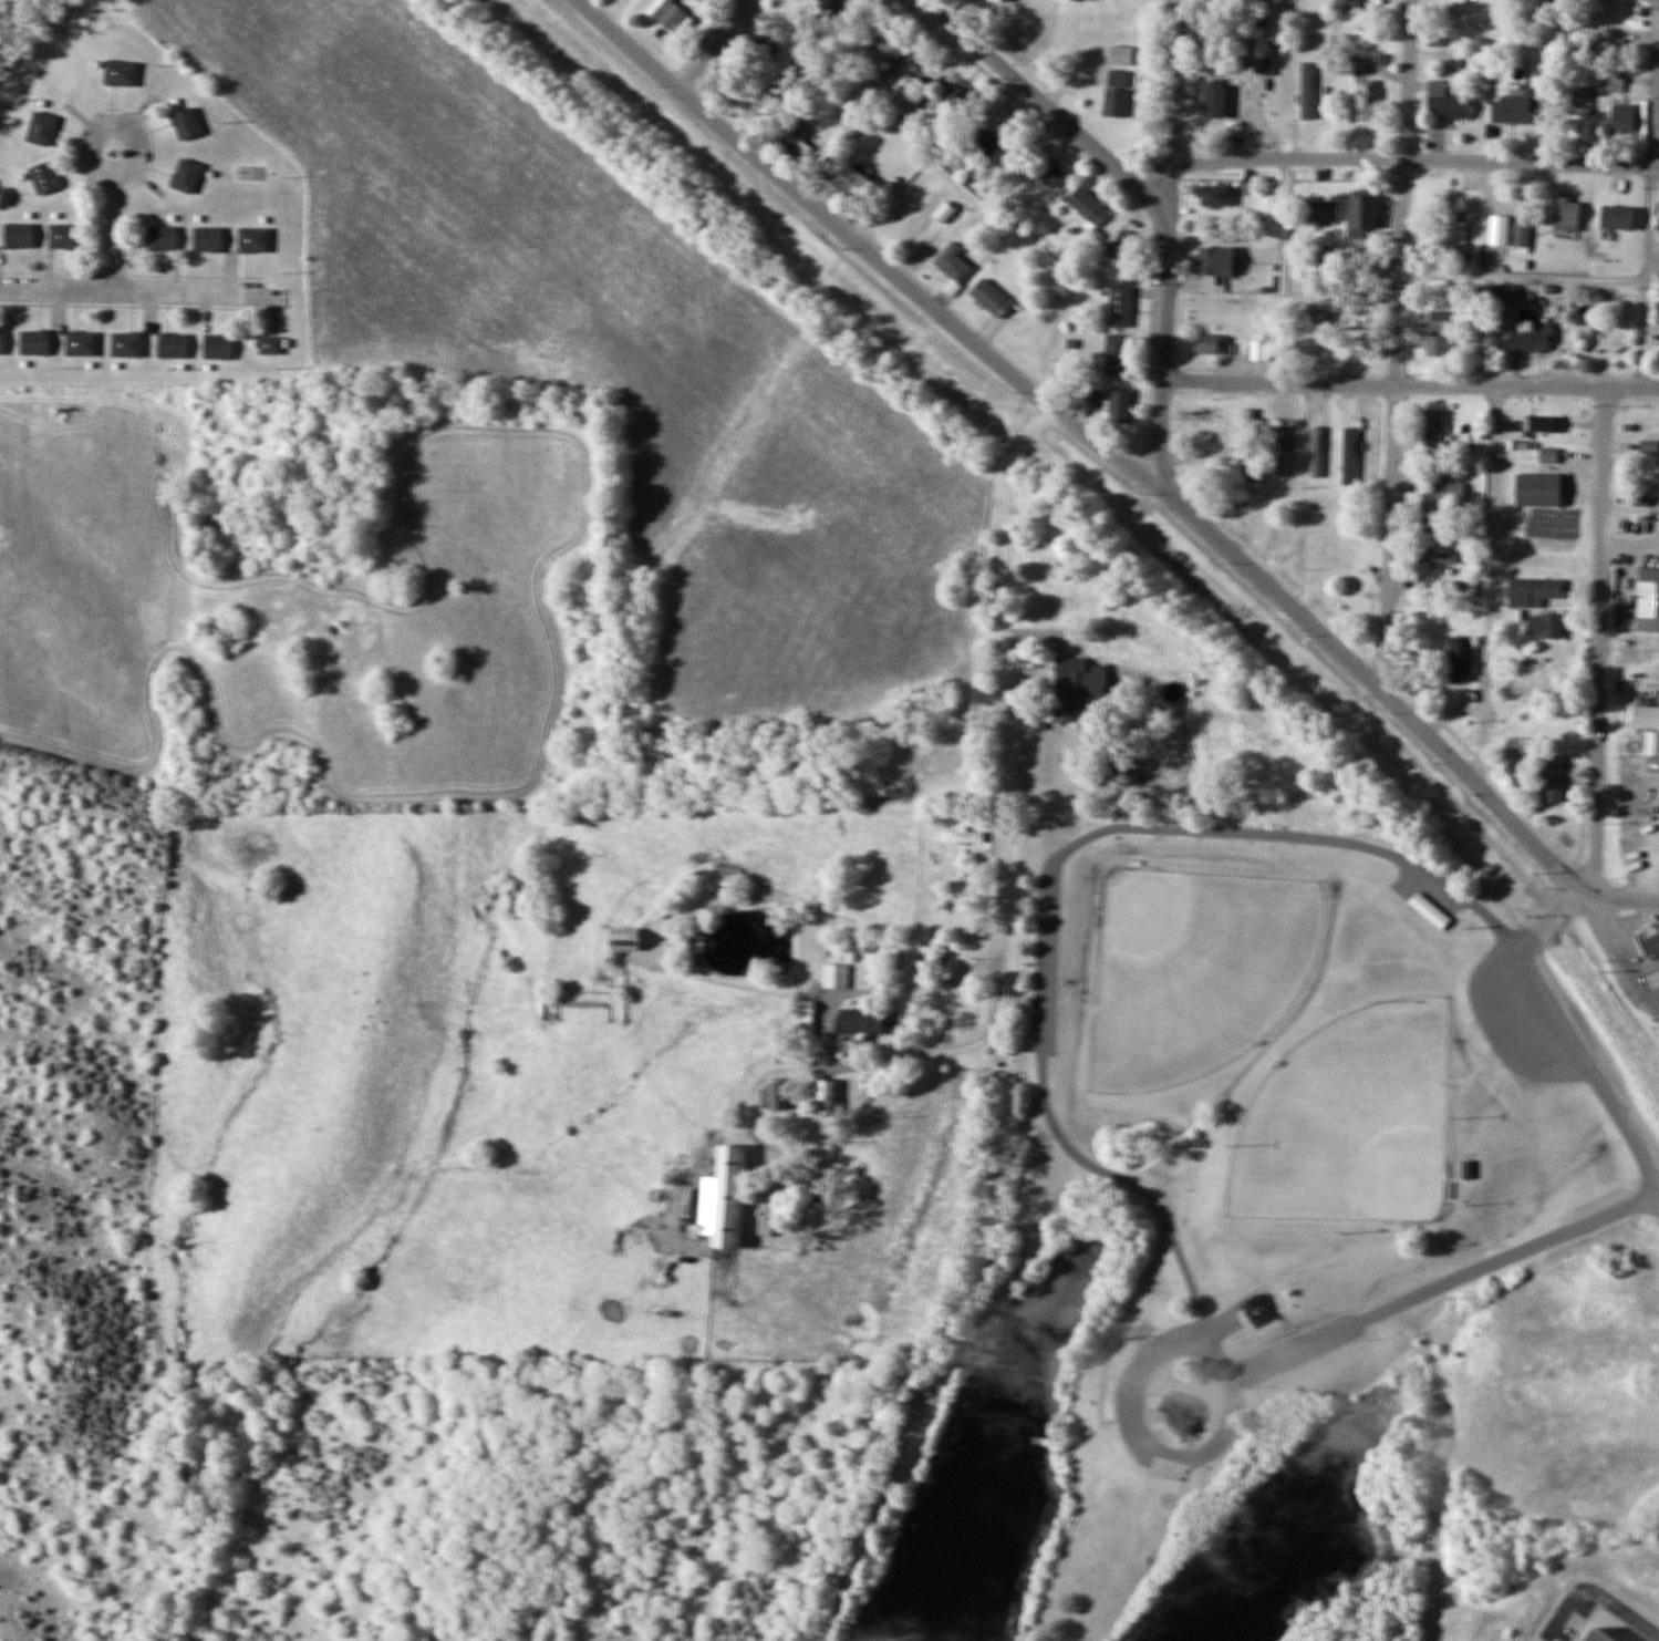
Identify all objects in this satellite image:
building: (1262, 1)
building: (1352, 6)
building: (833, 9)
building: (667, 13)
road: (716, 43)
building: (888, 45)
building: (1263, 65)
building: (121, 73)
building: (1118, 76)
road: (1180, 81)
building: (1614, 82)
building: (1307, 90)
building: (915, 91)
building: (1367, 100)
building: (1114, 102)
building: (1213, 102)
building: (1449, 102)
building: (951, 103)
building: (1521, 105)
road: (1049, 110)
building: (1622, 117)
building: (820, 121)
building: (186, 123)
road: (137, 127)
building: (42, 128)
building: (789, 134)
building: (983, 142)
road: (1418, 156)
building: (1048, 172)
building: (186, 175)
building: (44, 177)
building: (853, 180)
road: (1173, 192)
building: (1214, 195)
building: (1088, 206)
building: (1320, 210)
building: (943, 211)
building: (1566, 213)
building: (1362, 215)
building: (1617, 217)
building: (1453, 228)
building: (1499, 229)
road: (116, 233)
building: (18, 235)
building: (64, 236)
building: (1522, 236)
building: (162, 238)
building: (207, 238)
building: (252, 239)
road: (862, 246)
building: (1121, 256)
building: (953, 261)
building: (1215, 261)
building: (1307, 264)
building: (1331, 265)
road: (128, 288)
building: (1497, 293)
building: (991, 298)
building: (1120, 307)
building: (1438, 320)
building: (1535, 337)
building: (1, 341)
building: (34, 342)
building: (81, 343)
building: (1211, 343)
building: (126, 344)
building: (172, 344)
building: (270, 344)
building: (1441, 345)
building: (217, 347)
road: (1401, 349)
building: (1257, 350)
road: (1161, 352)
building: (1117, 354)
road: (1409, 383)
building: (1119, 404)
building: (1546, 423)
building: (1434, 427)
building: (1248, 433)
building: (1277, 450)
building: (1548, 456)
building: (1539, 488)
building: (1440, 500)
building: (1440, 557)
building: (1438, 585)
road: (1494, 586)
building: (1535, 591)
building: (1650, 592)
building: (1546, 626)
road: (1601, 643)
building: (1462, 659)
building: (1542, 664)
building: (1078, 682)
road: (1380, 687)
road: (1004, 693)
building: (1649, 725)
building: (1516, 751)
building: (1554, 778)
road: (1158, 826)
building: (957, 836)
building: (727, 874)
road: (1627, 901)
building: (1430, 911)
building: (624, 939)
building: (699, 942)
building: (1650, 943)
park: (1192, 969)
building: (839, 976)
building: (1652, 980)
building: (803, 1016)
building: (863, 1022)
building: (777, 1096)
building: (826, 1097)
park: (1350, 1119)
park: (1212, 1170)
building: (656, 1195)
building: (724, 1199)
road: (1442, 1284)
road: (1142, 1379)
building: (1185, 1413)
road: (1596, 1593)
building: (1600, 1634)

